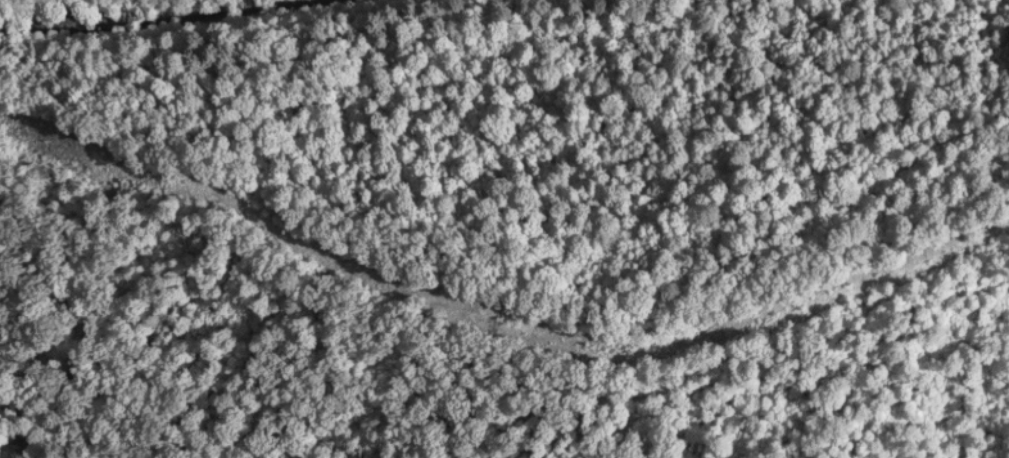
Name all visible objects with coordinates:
road: (118, 11)
road: (118, 11)
road: (484, 290)

